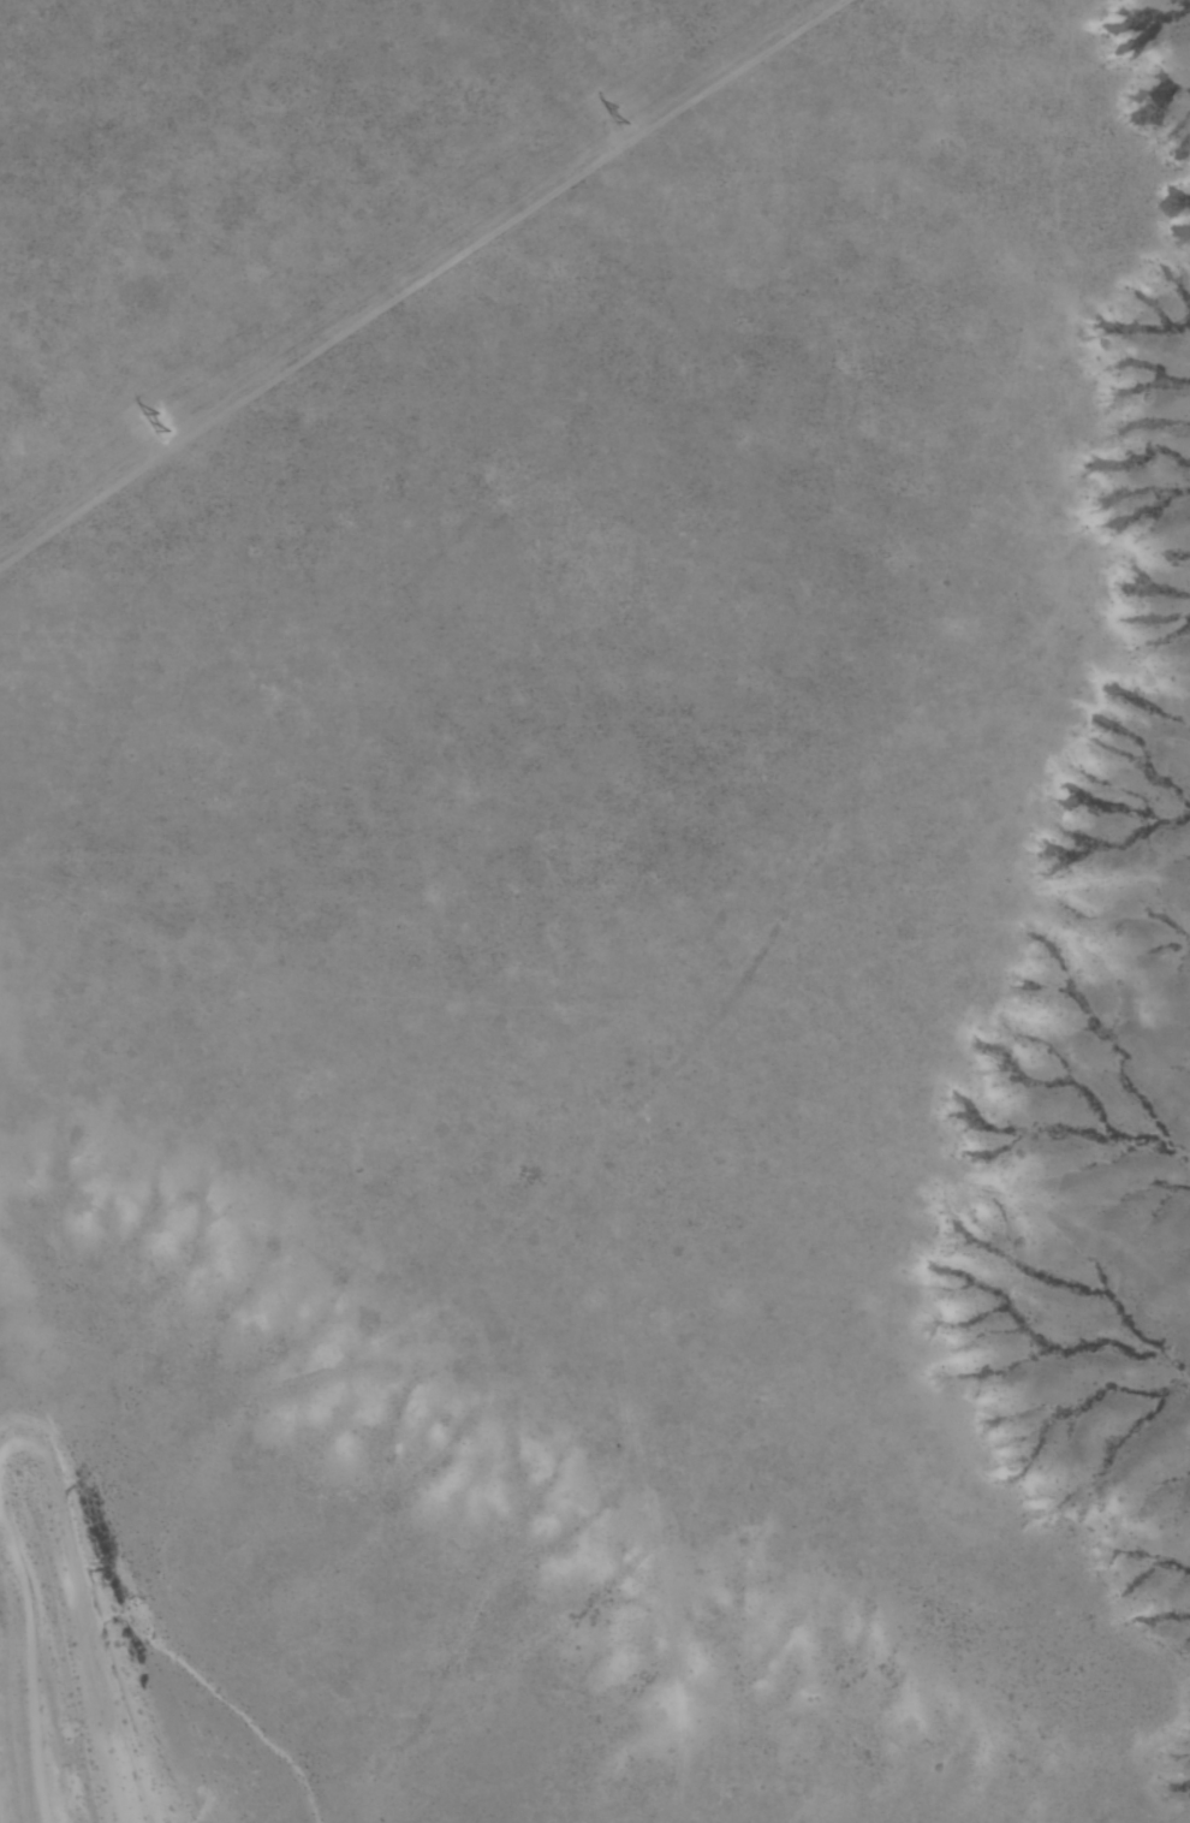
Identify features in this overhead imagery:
power tower: (627, 112)
power tower: (160, 423)

